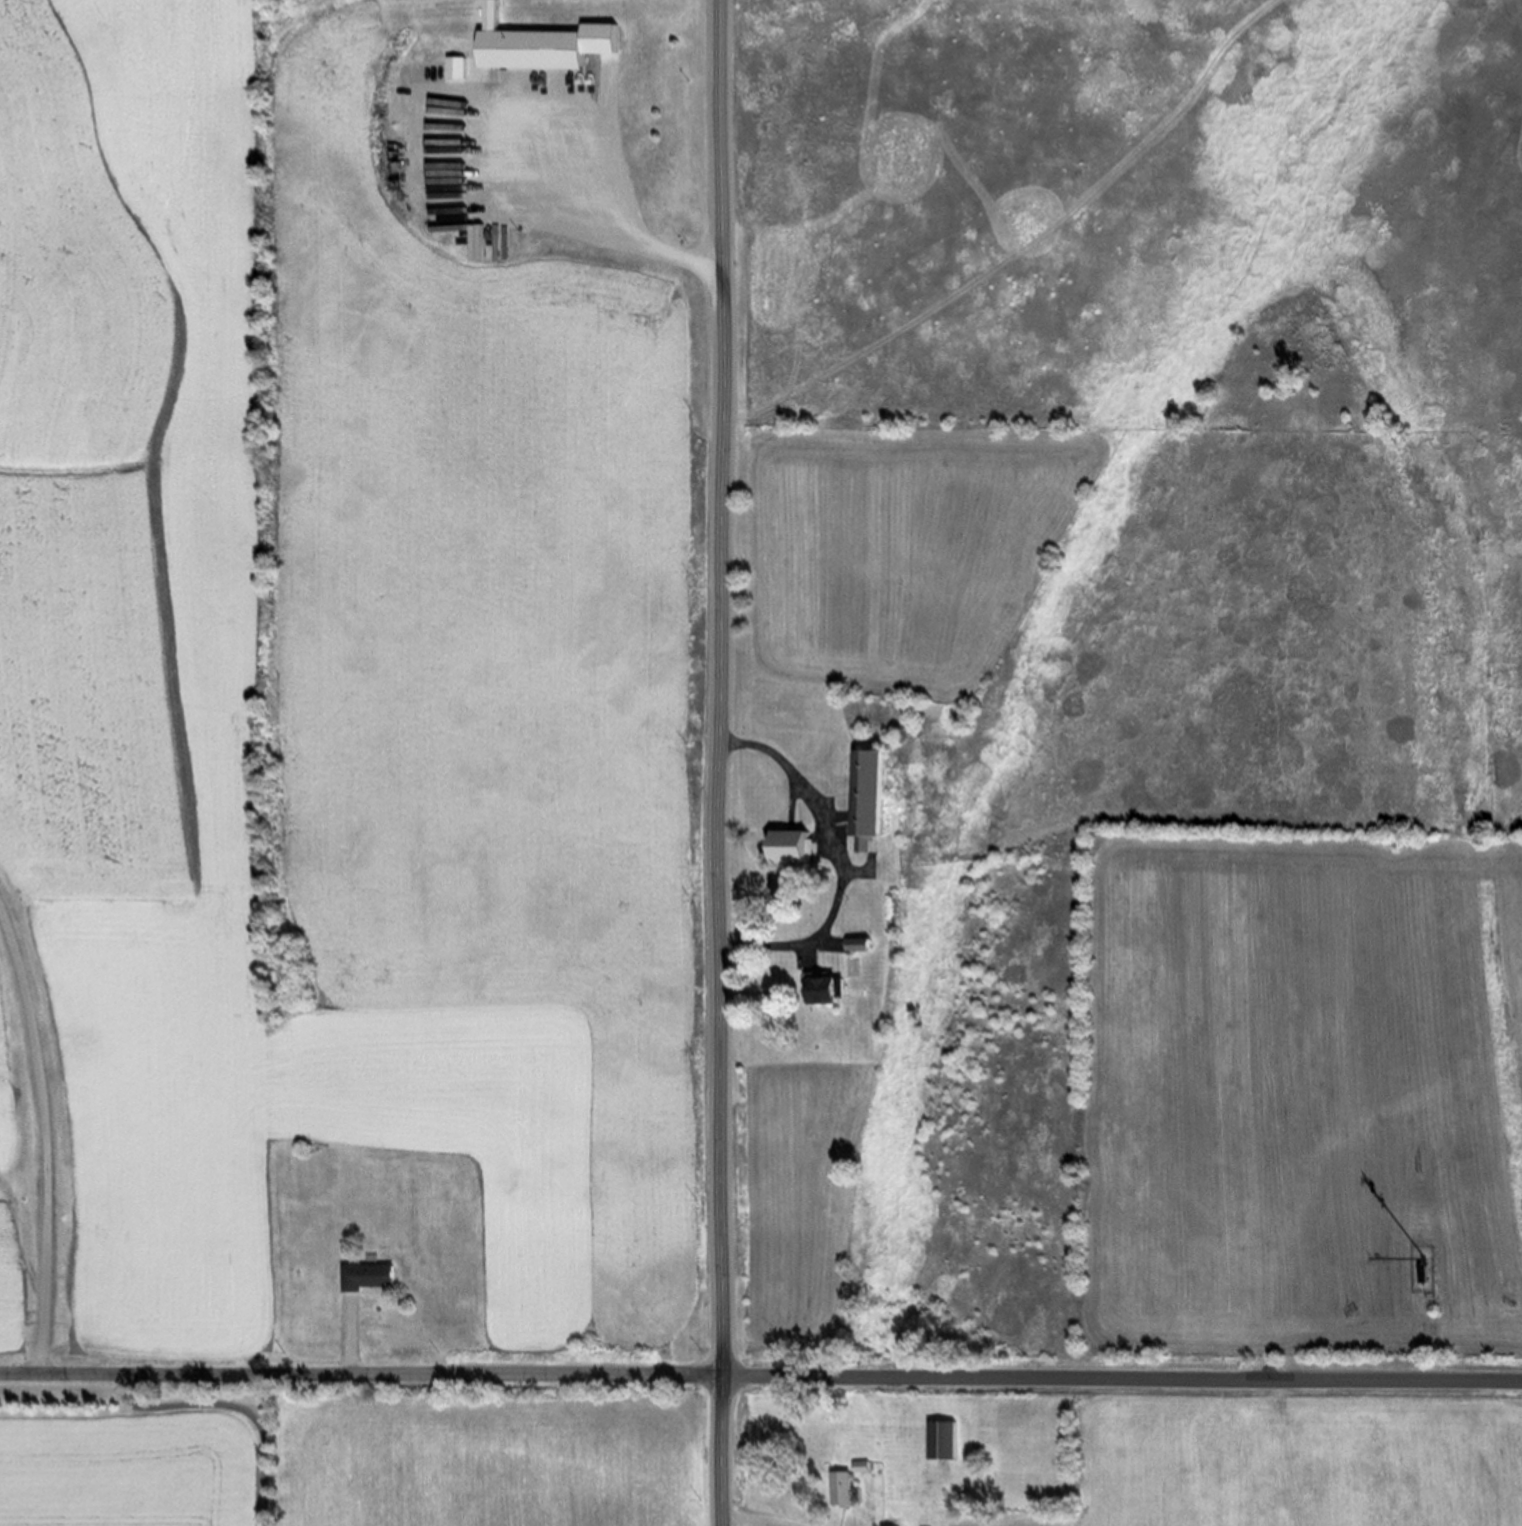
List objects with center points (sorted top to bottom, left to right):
building: (553, 53)
road: (615, 217)
road: (177, 302)
road: (722, 686)
building: (874, 807)
building: (795, 858)
road: (837, 865)
building: (867, 943)
building: (863, 953)
building: (823, 999)
road: (41, 1133)
building: (1428, 1273)
building: (369, 1275)
road: (347, 1339)
road: (1354, 1346)
road: (761, 1373)
road: (236, 1403)
road: (68, 1416)
building: (950, 1443)
road: (725, 1449)
building: (869, 1464)
building: (845, 1486)
road: (762, 1517)
building: (897, 1525)

